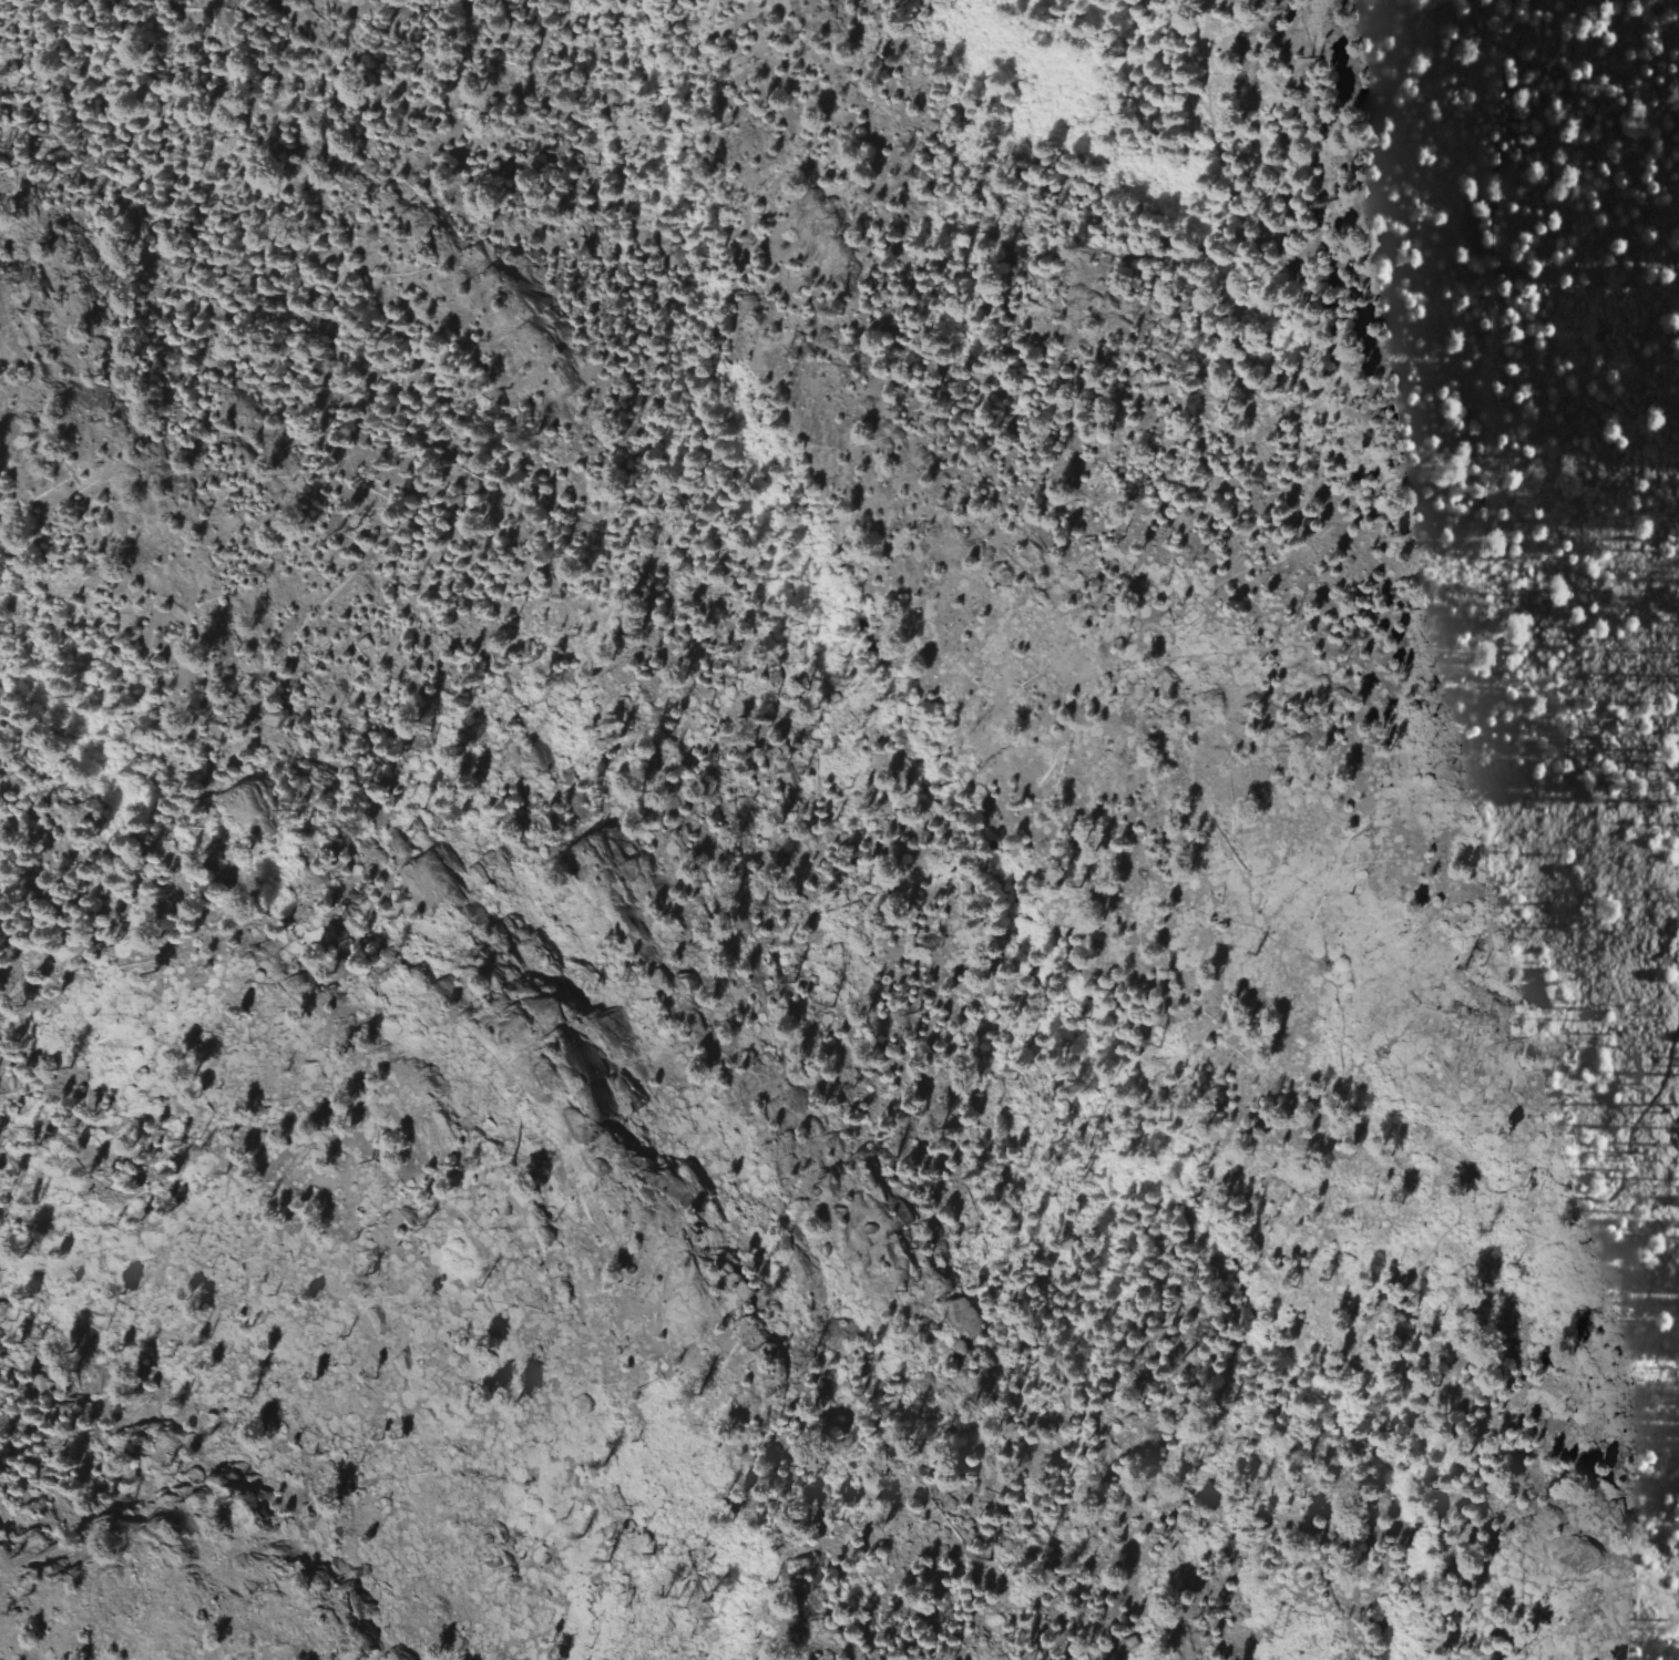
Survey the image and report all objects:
road: (1280, 668)
road: (1613, 1590)

